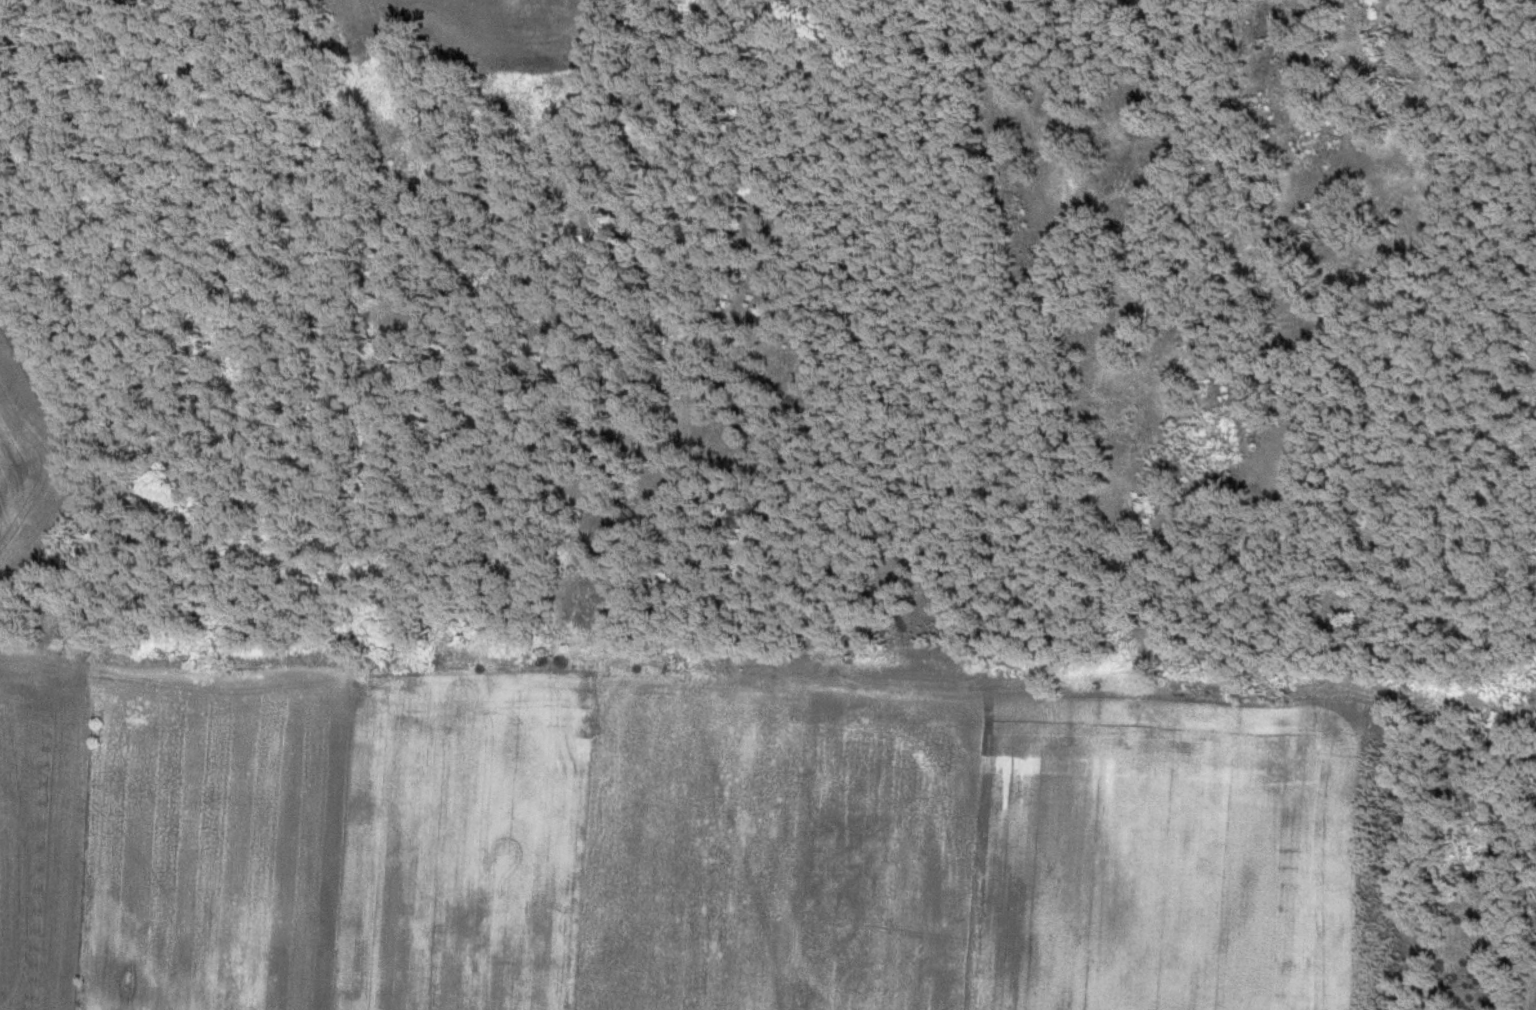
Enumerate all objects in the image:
road: (768, 718)

